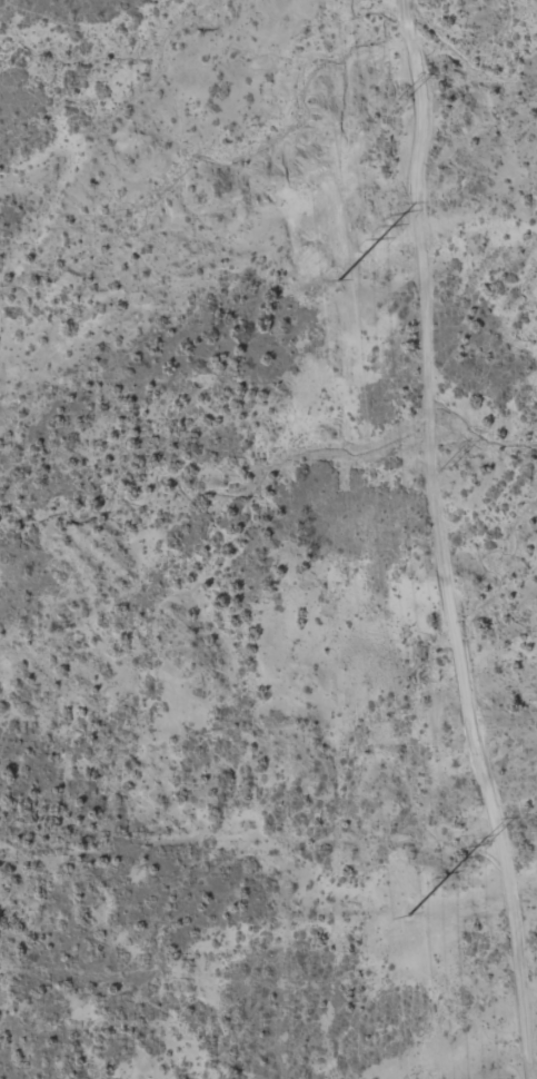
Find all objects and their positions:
power tower: (401, 96)
power tower: (338, 280)
power tower: (444, 465)
power tower: (486, 840)
power tower: (407, 913)

